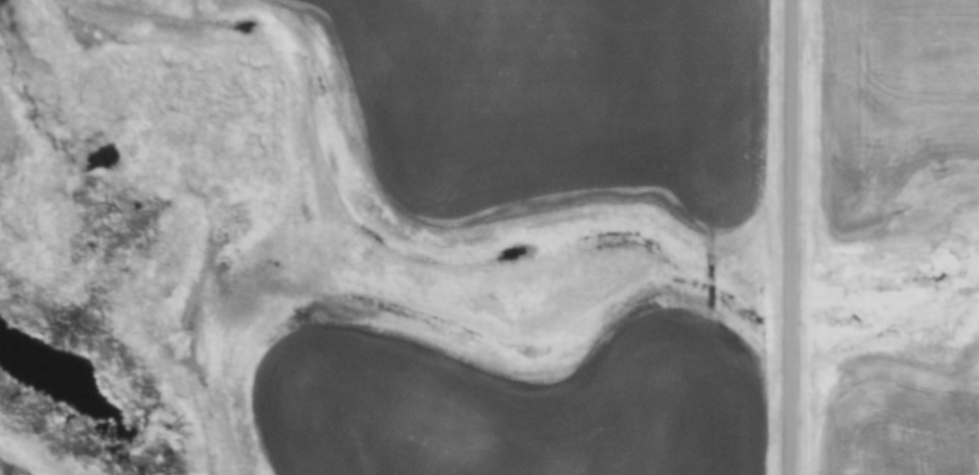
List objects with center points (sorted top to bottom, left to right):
road: (791, 237)

